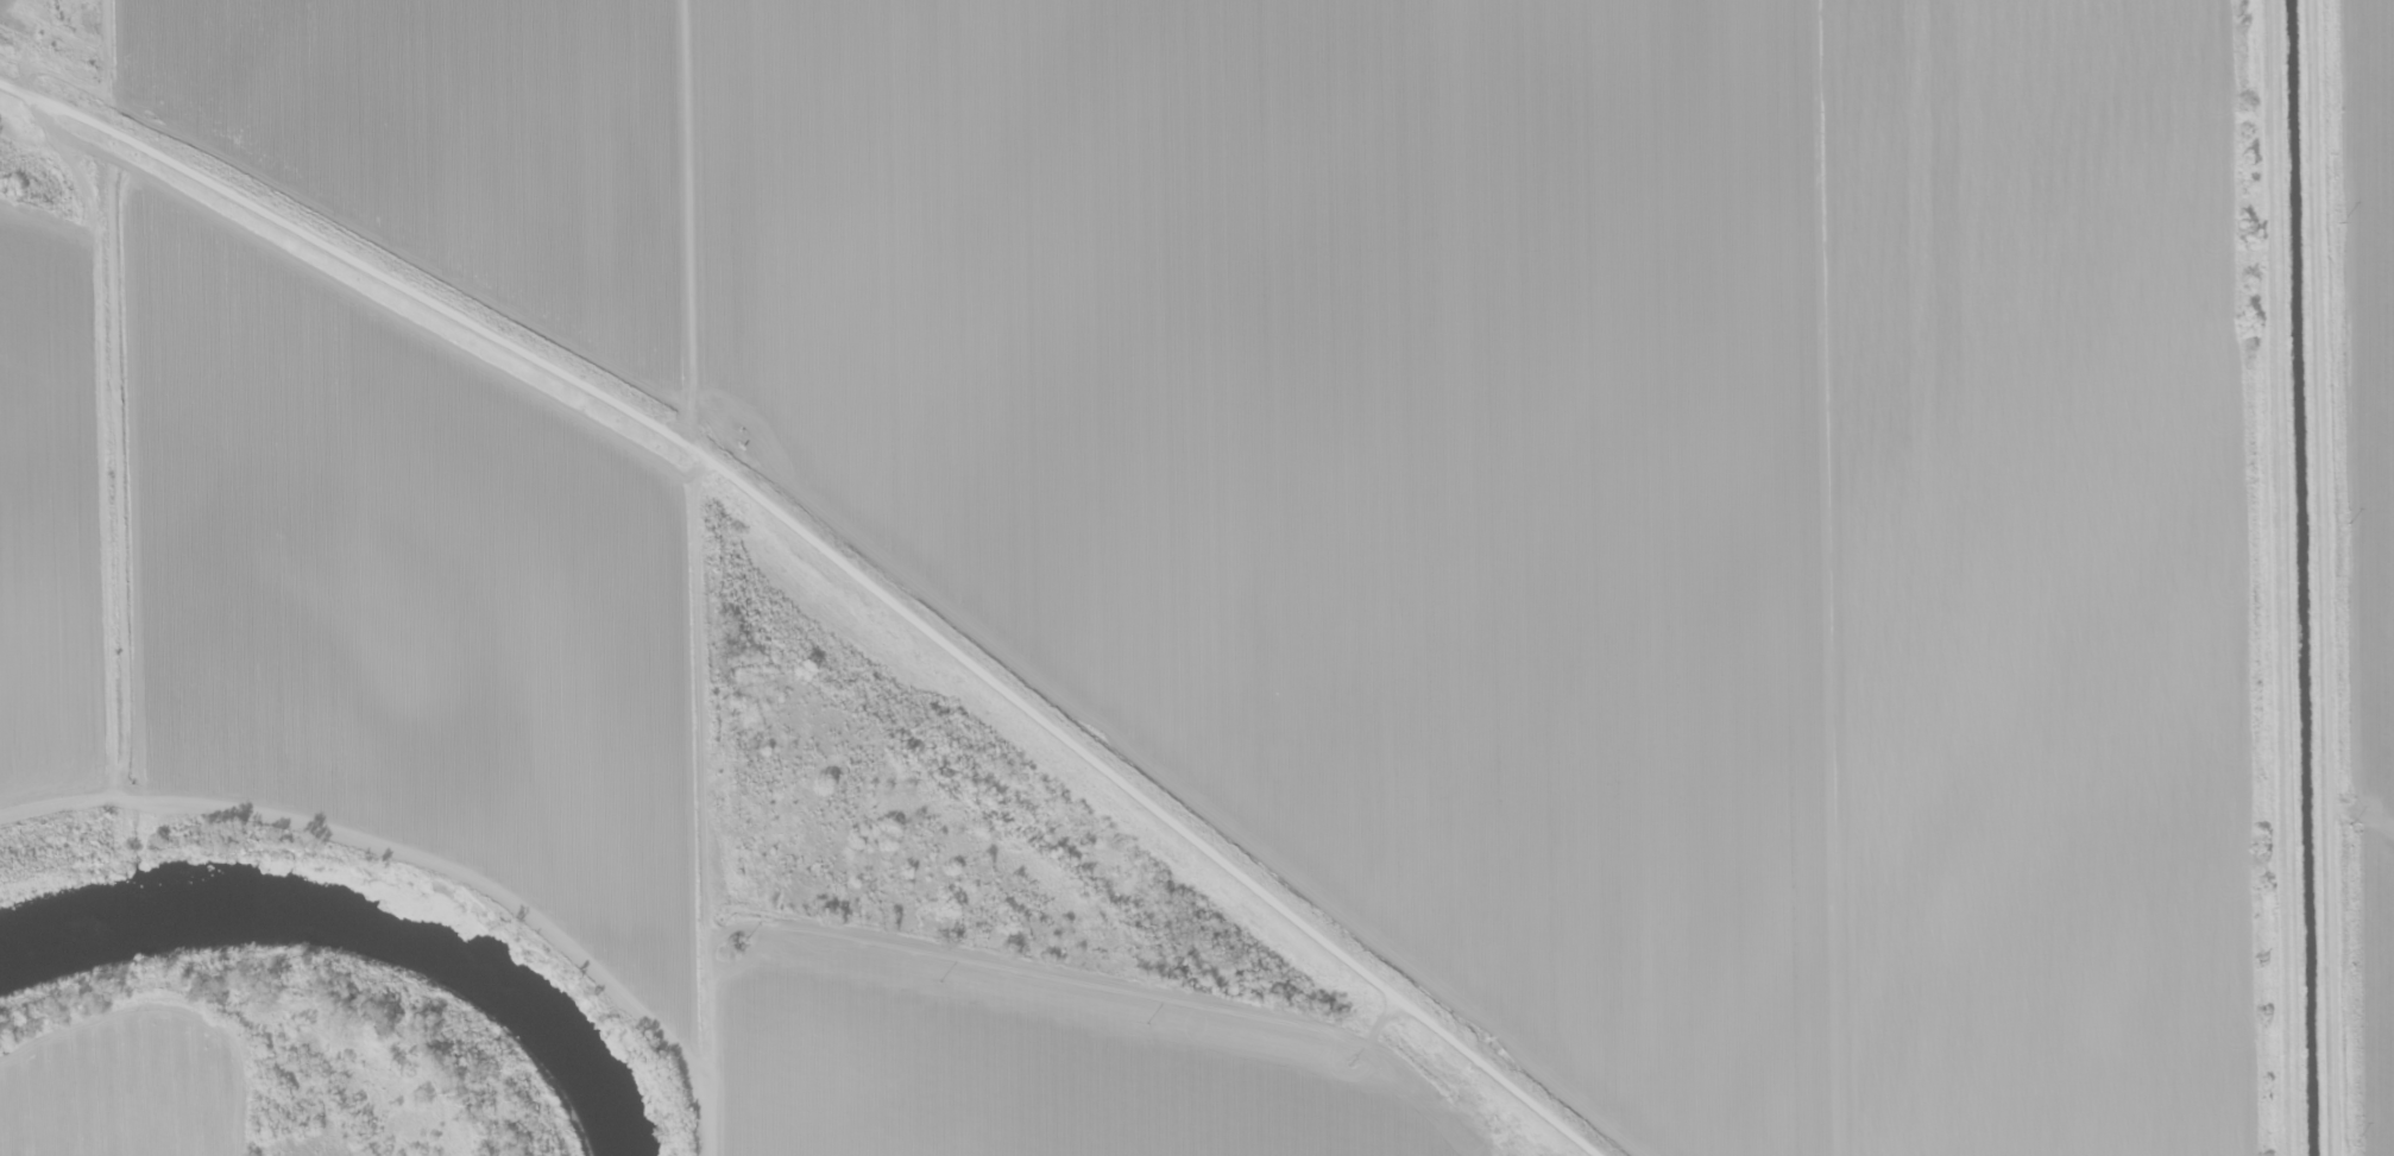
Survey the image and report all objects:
road: (831, 563)
river: (352, 923)

